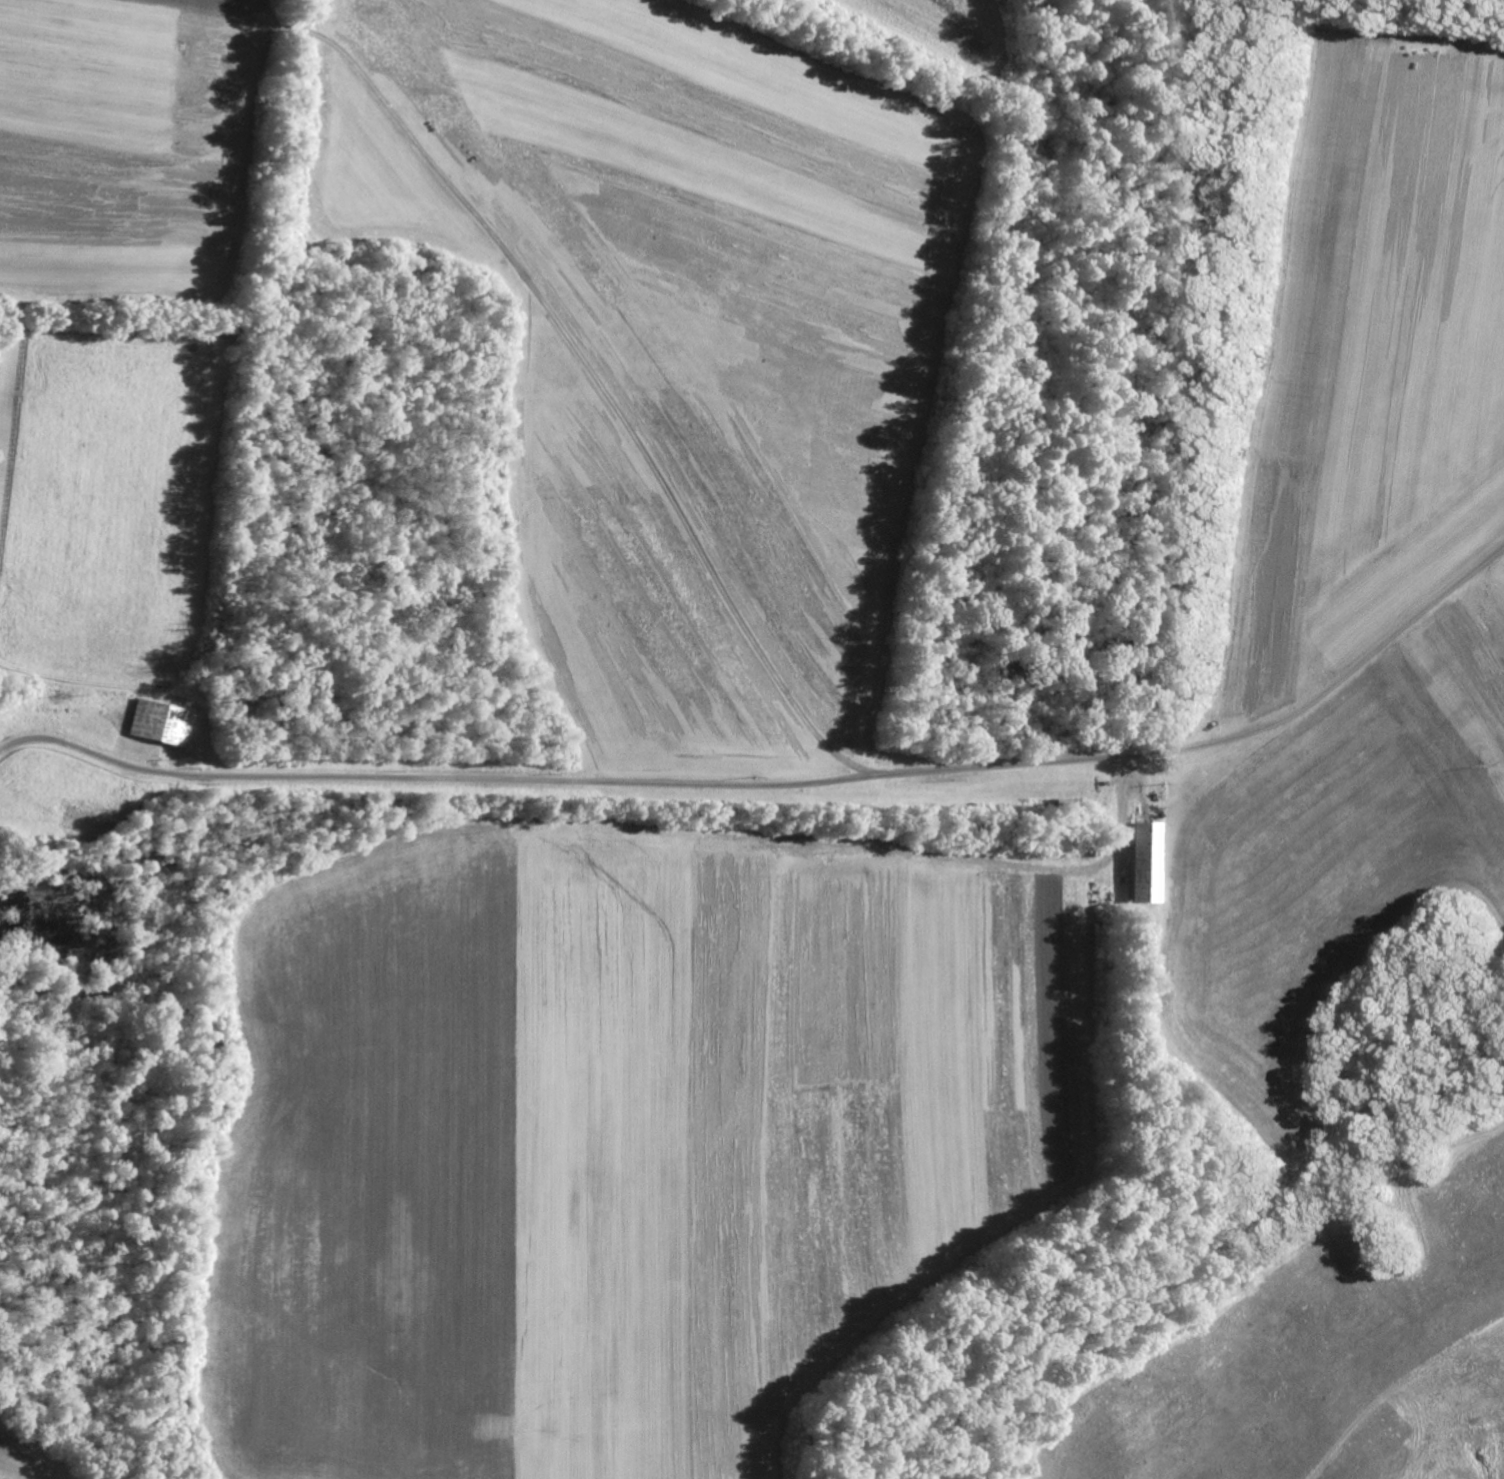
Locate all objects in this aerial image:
building: (161, 722)
road: (781, 786)
road: (1120, 814)
building: (1141, 862)

